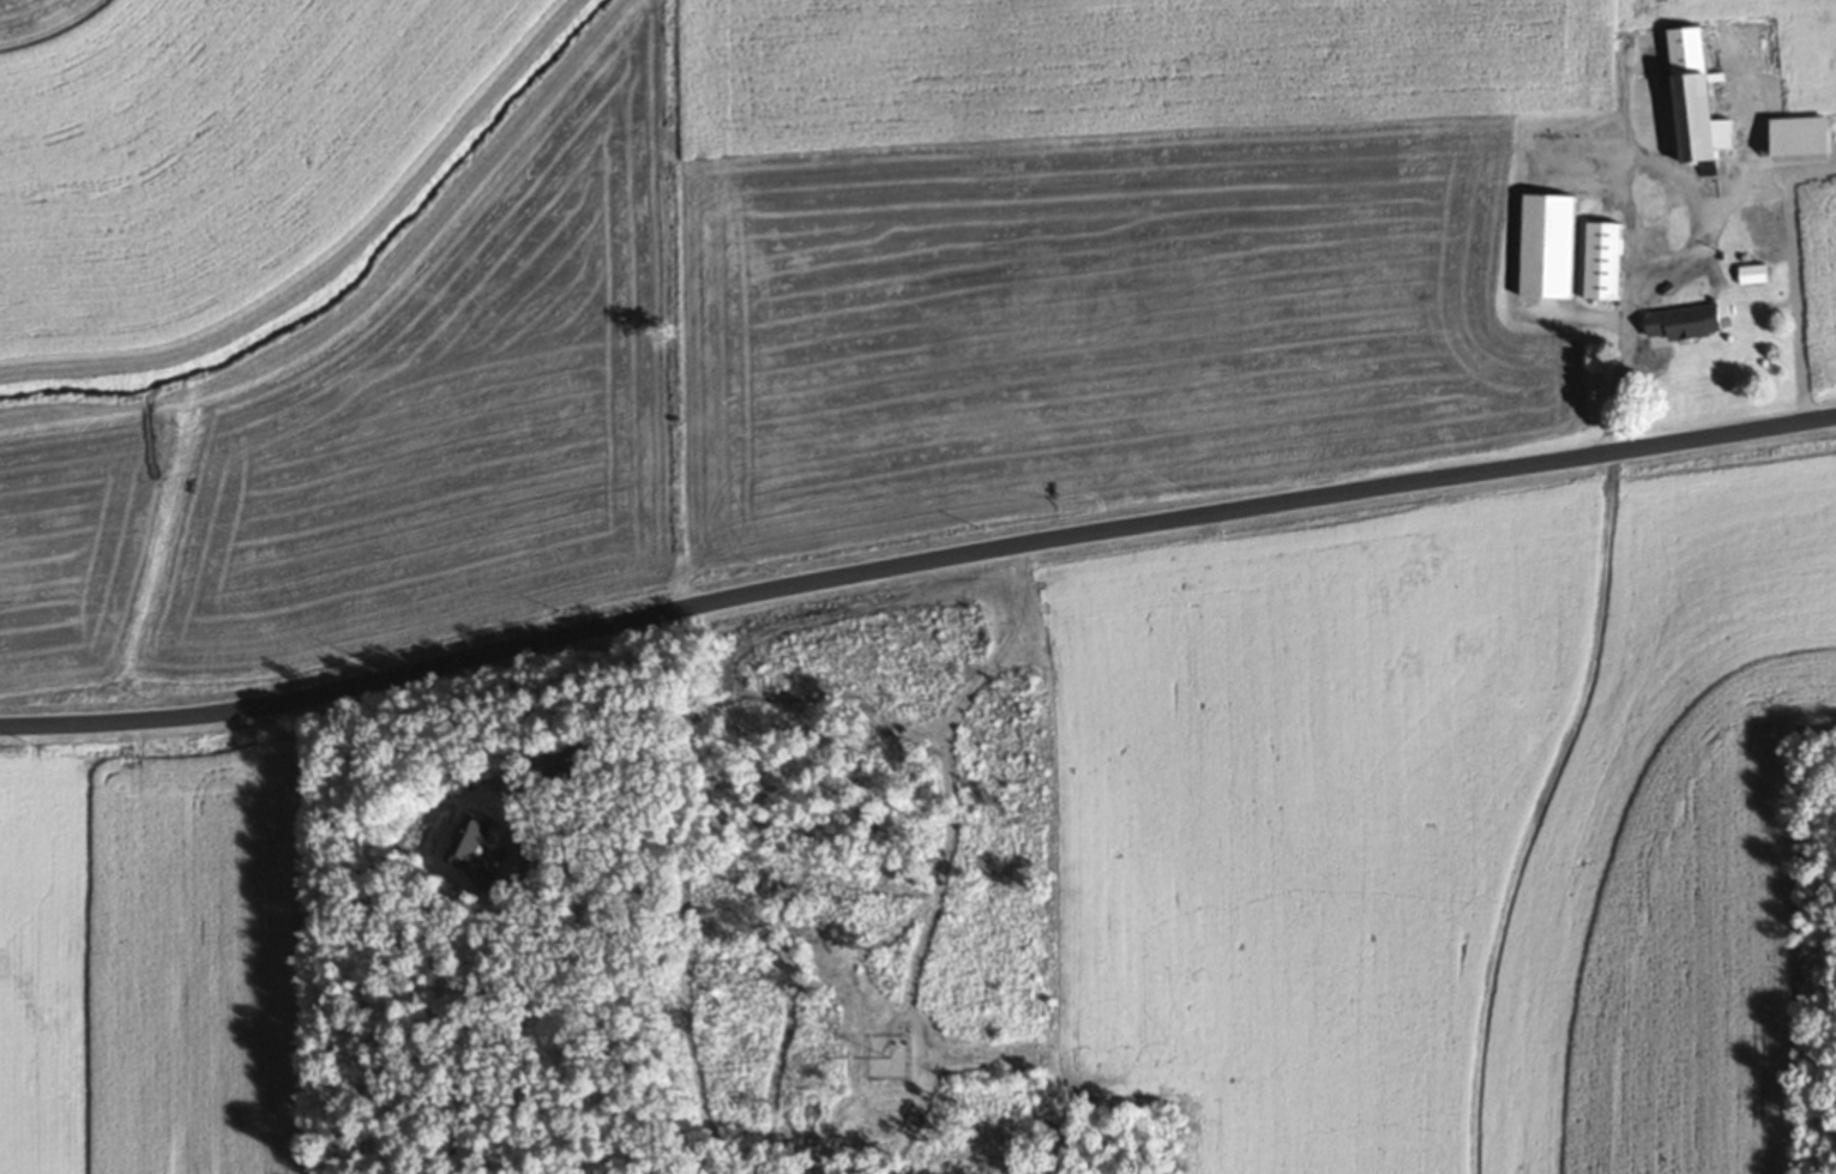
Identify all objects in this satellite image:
building: (1688, 100)
building: (1795, 139)
road: (1721, 197)
building: (1648, 216)
building: (1763, 225)
building: (1546, 249)
building: (1601, 264)
building: (1751, 277)
building: (1678, 326)
road: (915, 560)

